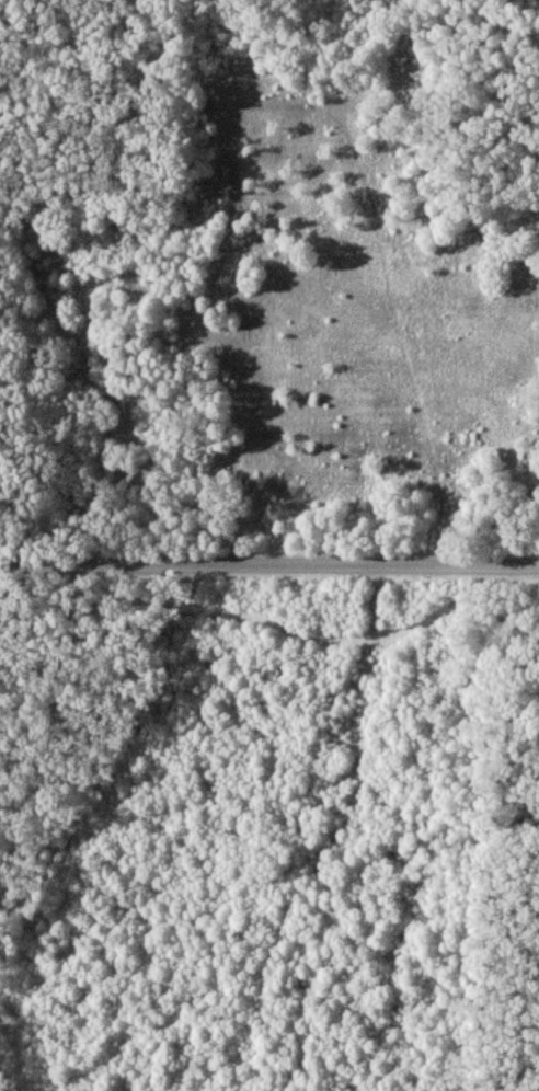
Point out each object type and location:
road: (269, 571)

